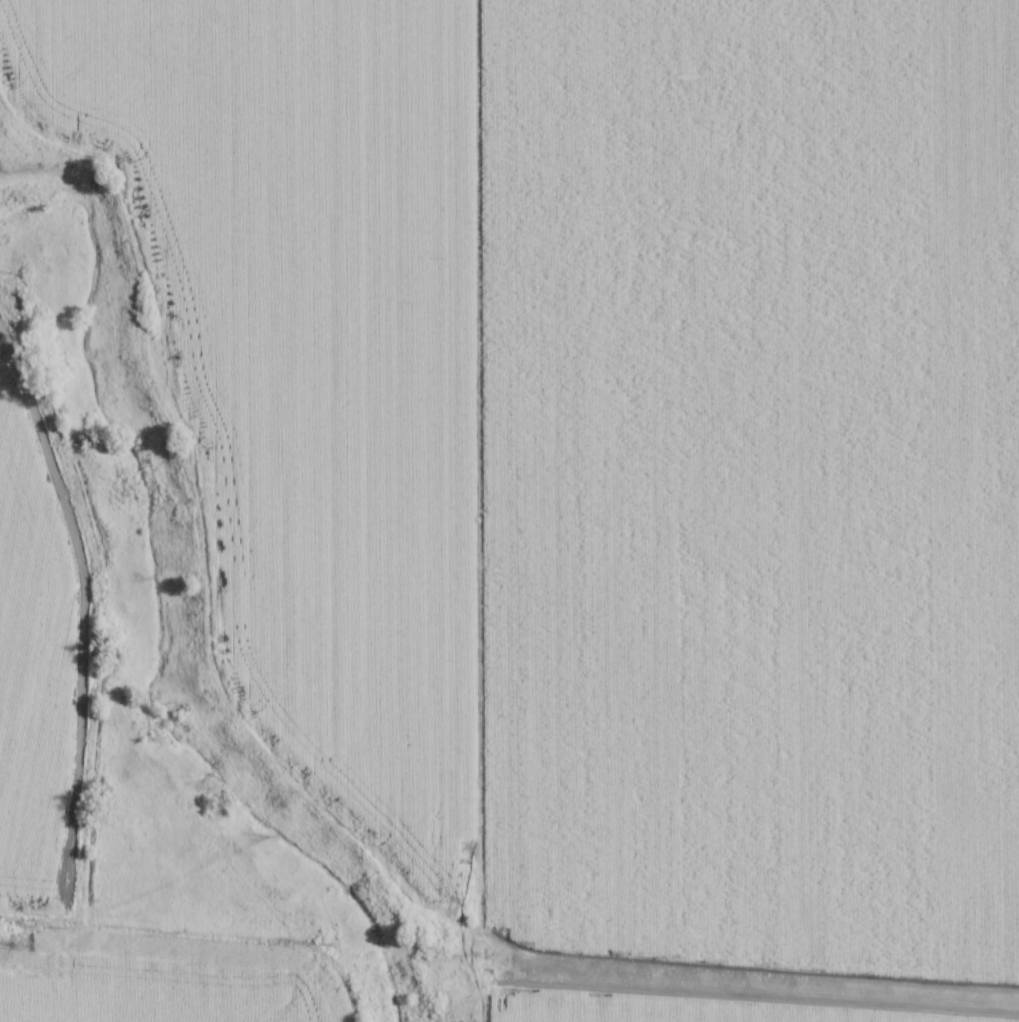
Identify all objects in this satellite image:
crop: (606, 466)
crop: (32, 649)
crop: (154, 987)

